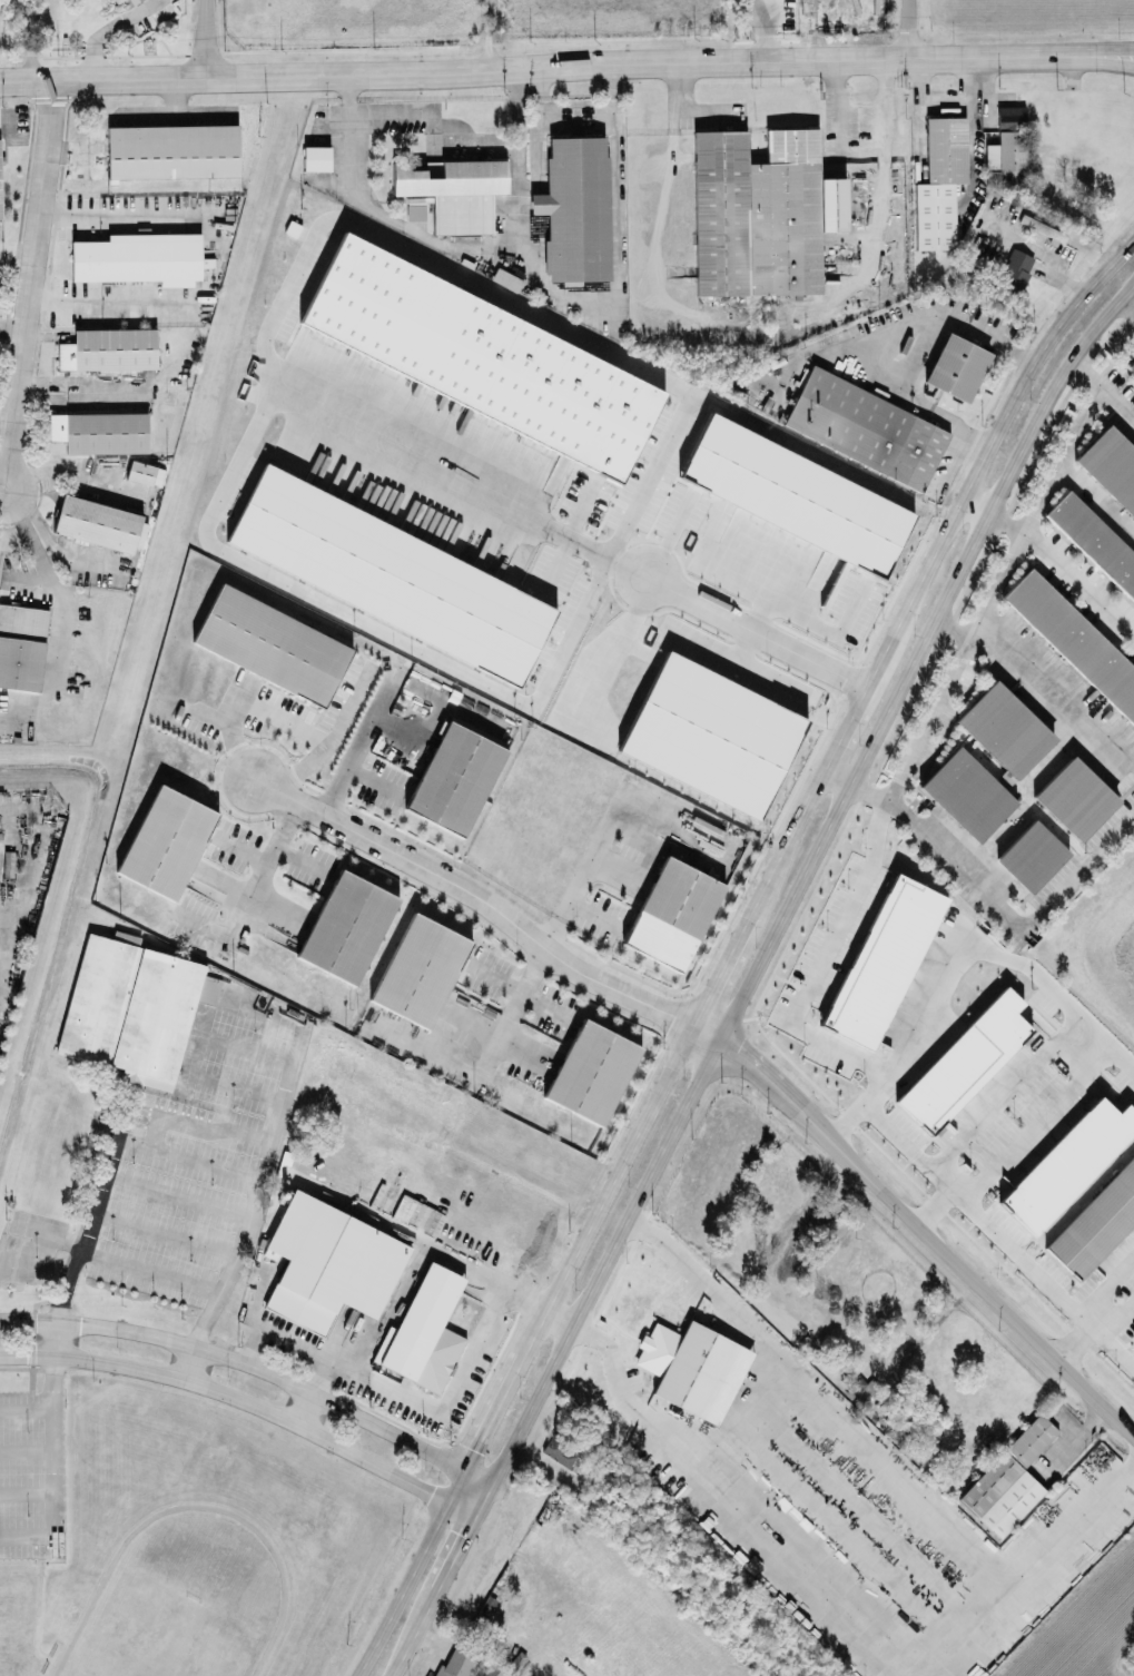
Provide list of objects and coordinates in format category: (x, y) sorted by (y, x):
building: (116, 0)
building: (132, 1)
road: (908, 28)
road: (765, 29)
road: (107, 30)
road: (495, 34)
road: (204, 38)
road: (1126, 49)
road: (1126, 57)
road: (560, 68)
road: (615, 86)
road: (544, 88)
road: (176, 92)
road: (945, 98)
road: (679, 102)
road: (580, 106)
road: (970, 106)
road: (146, 107)
road: (203, 107)
road: (359, 127)
road: (516, 128)
road: (88, 141)
building: (1006, 142)
road: (860, 148)
building: (172, 149)
road: (539, 149)
road: (880, 155)
building: (316, 157)
road: (975, 160)
building: (940, 181)
building: (452, 190)
building: (0, 194)
building: (575, 207)
road: (115, 210)
building: (761, 211)
road: (877, 224)
road: (17, 257)
building: (139, 257)
building: (1017, 267)
road: (29, 287)
road: (615, 290)
road: (106, 298)
road: (1126, 300)
road: (12, 324)
road: (887, 339)
building: (109, 348)
building: (482, 355)
building: (956, 365)
building: (1131, 366)
road: (1117, 396)
building: (867, 428)
building: (100, 431)
road: (1071, 438)
building: (1111, 464)
building: (140, 471)
road: (2, 495)
road: (1096, 496)
road: (23, 517)
building: (99, 522)
building: (1094, 540)
building: (391, 573)
road: (1079, 583)
road: (62, 604)
road: (711, 605)
road: (969, 631)
building: (1074, 638)
building: (272, 643)
building: (21, 644)
road: (1041, 677)
road: (275, 713)
road: (358, 743)
building: (1010, 760)
road: (825, 763)
road: (372, 776)
building: (454, 777)
building: (1075, 796)
building: (167, 840)
building: (1032, 854)
road: (802, 874)
road: (593, 878)
road: (987, 890)
road: (490, 904)
building: (673, 909)
building: (347, 926)
building: (126, 936)
building: (884, 960)
building: (420, 968)
road: (532, 969)
road: (495, 977)
road: (806, 992)
road: (543, 1004)
building: (130, 1008)
road: (509, 1015)
road: (1092, 1032)
building: (965, 1058)
building: (592, 1069)
road: (760, 1071)
road: (925, 1162)
building: (1067, 1162)
road: (263, 1174)
road: (95, 1210)
building: (417, 1213)
building: (1096, 1222)
road: (414, 1239)
road: (1020, 1254)
building: (329, 1262)
road: (967, 1272)
road: (1110, 1279)
road: (1118, 1310)
building: (424, 1330)
building: (1132, 1330)
road: (1079, 1334)
road: (56, 1338)
road: (294, 1340)
road: (194, 1361)
road: (256, 1363)
building: (693, 1367)
road: (505, 1387)
road: (247, 1400)
road: (304, 1403)
road: (27, 1407)
road: (447, 1409)
road: (749, 1424)
building: (559, 1450)
road: (55, 1468)
building: (1008, 1478)
road: (954, 1542)
road: (453, 1552)
road: (491, 1562)
road: (412, 1571)
road: (430, 1634)
road: (402, 1652)
road: (432, 1658)
building: (456, 1658)

